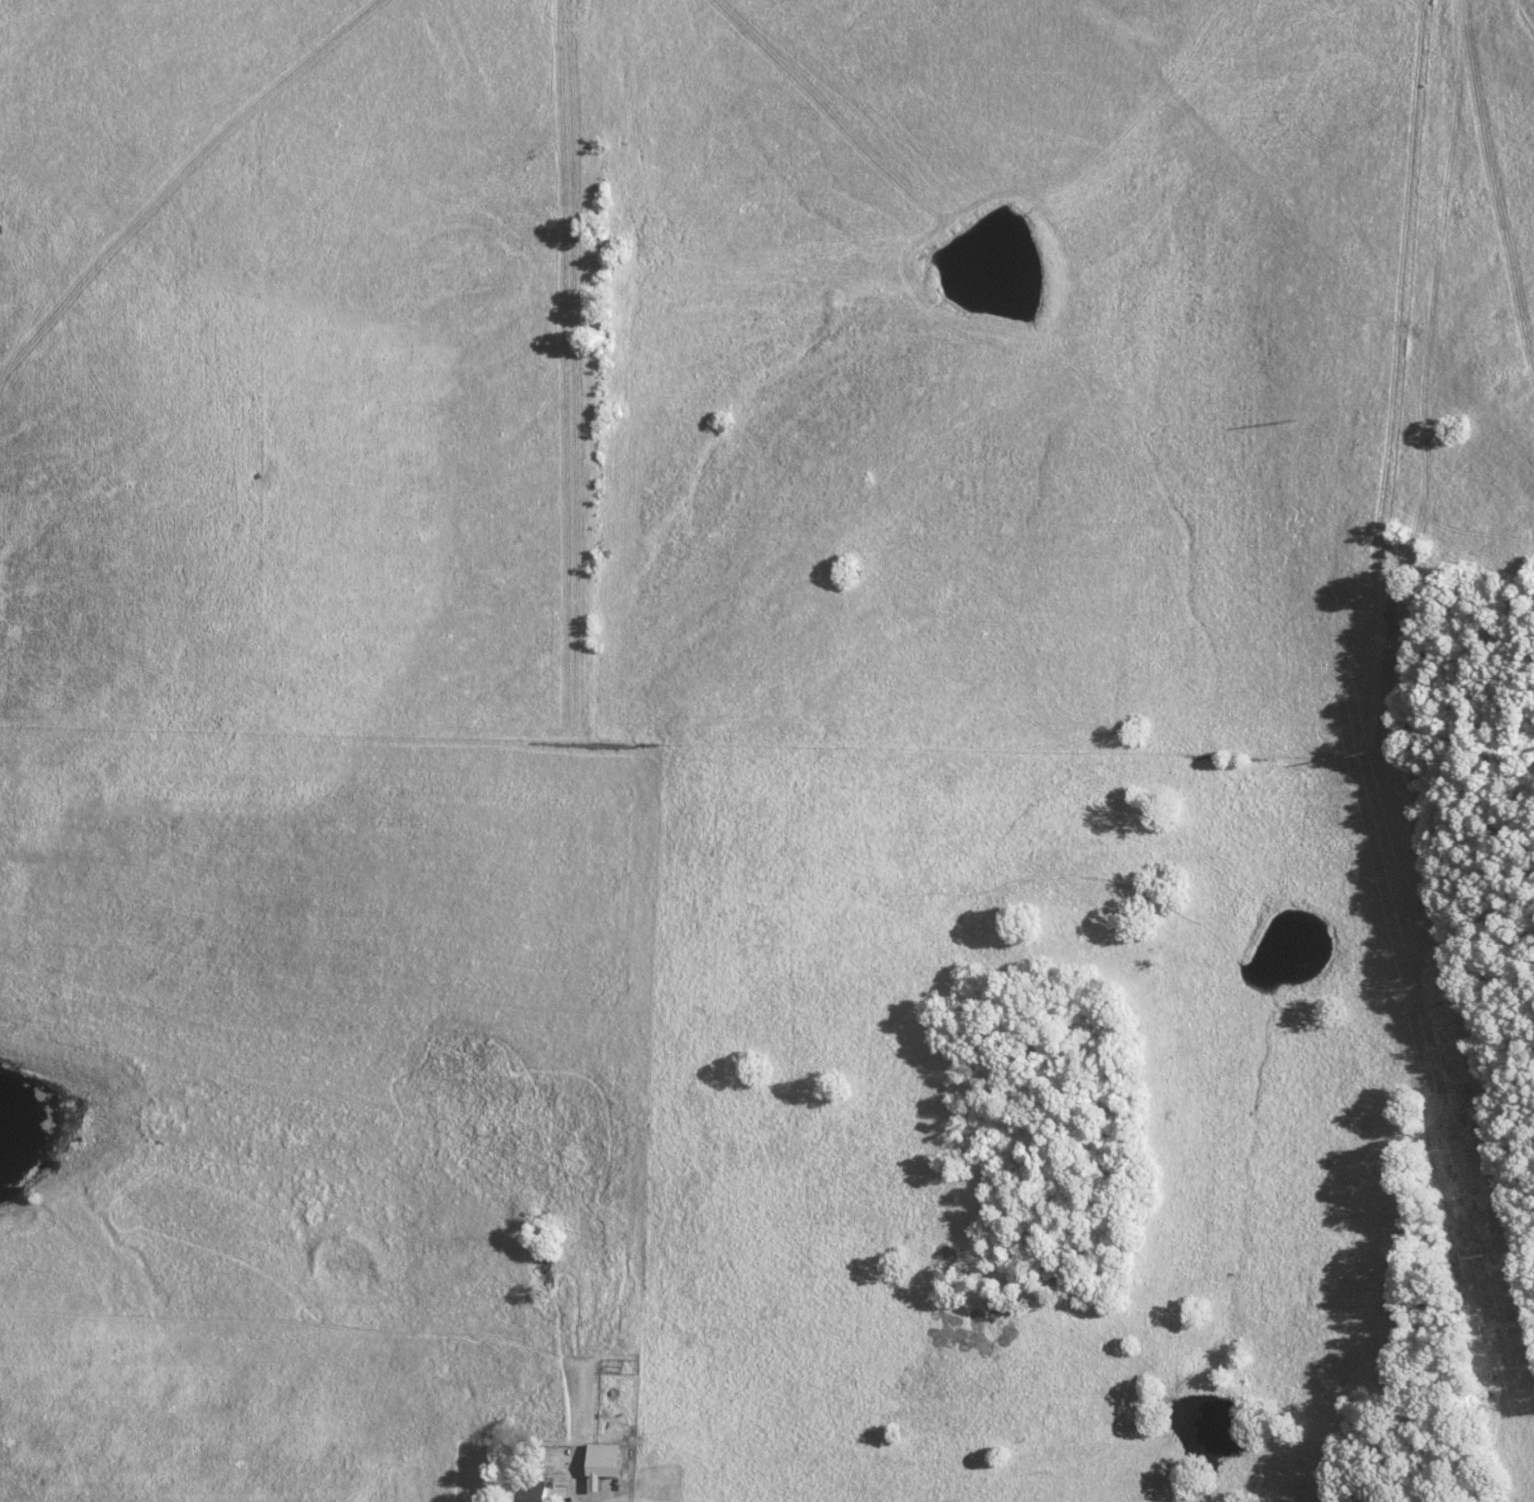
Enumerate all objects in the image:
building: (601, 1464)
building: (533, 1491)
road: (573, 1496)

